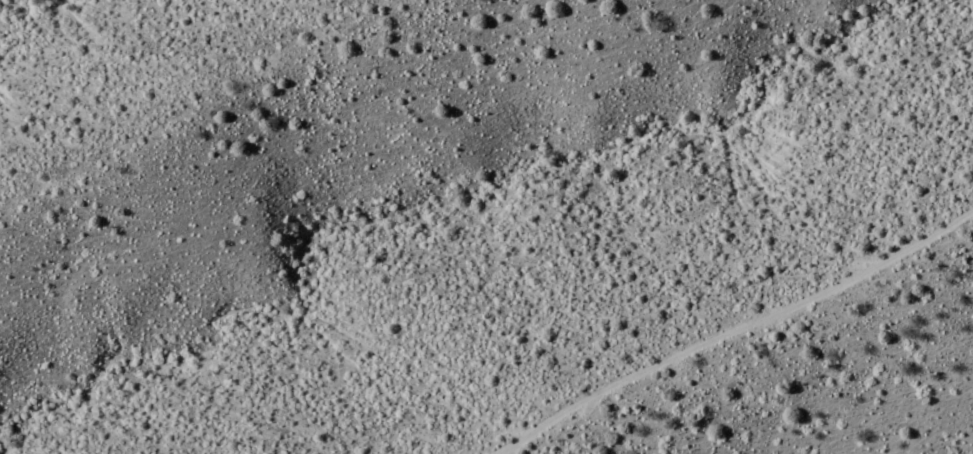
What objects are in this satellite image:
road: (732, 328)

